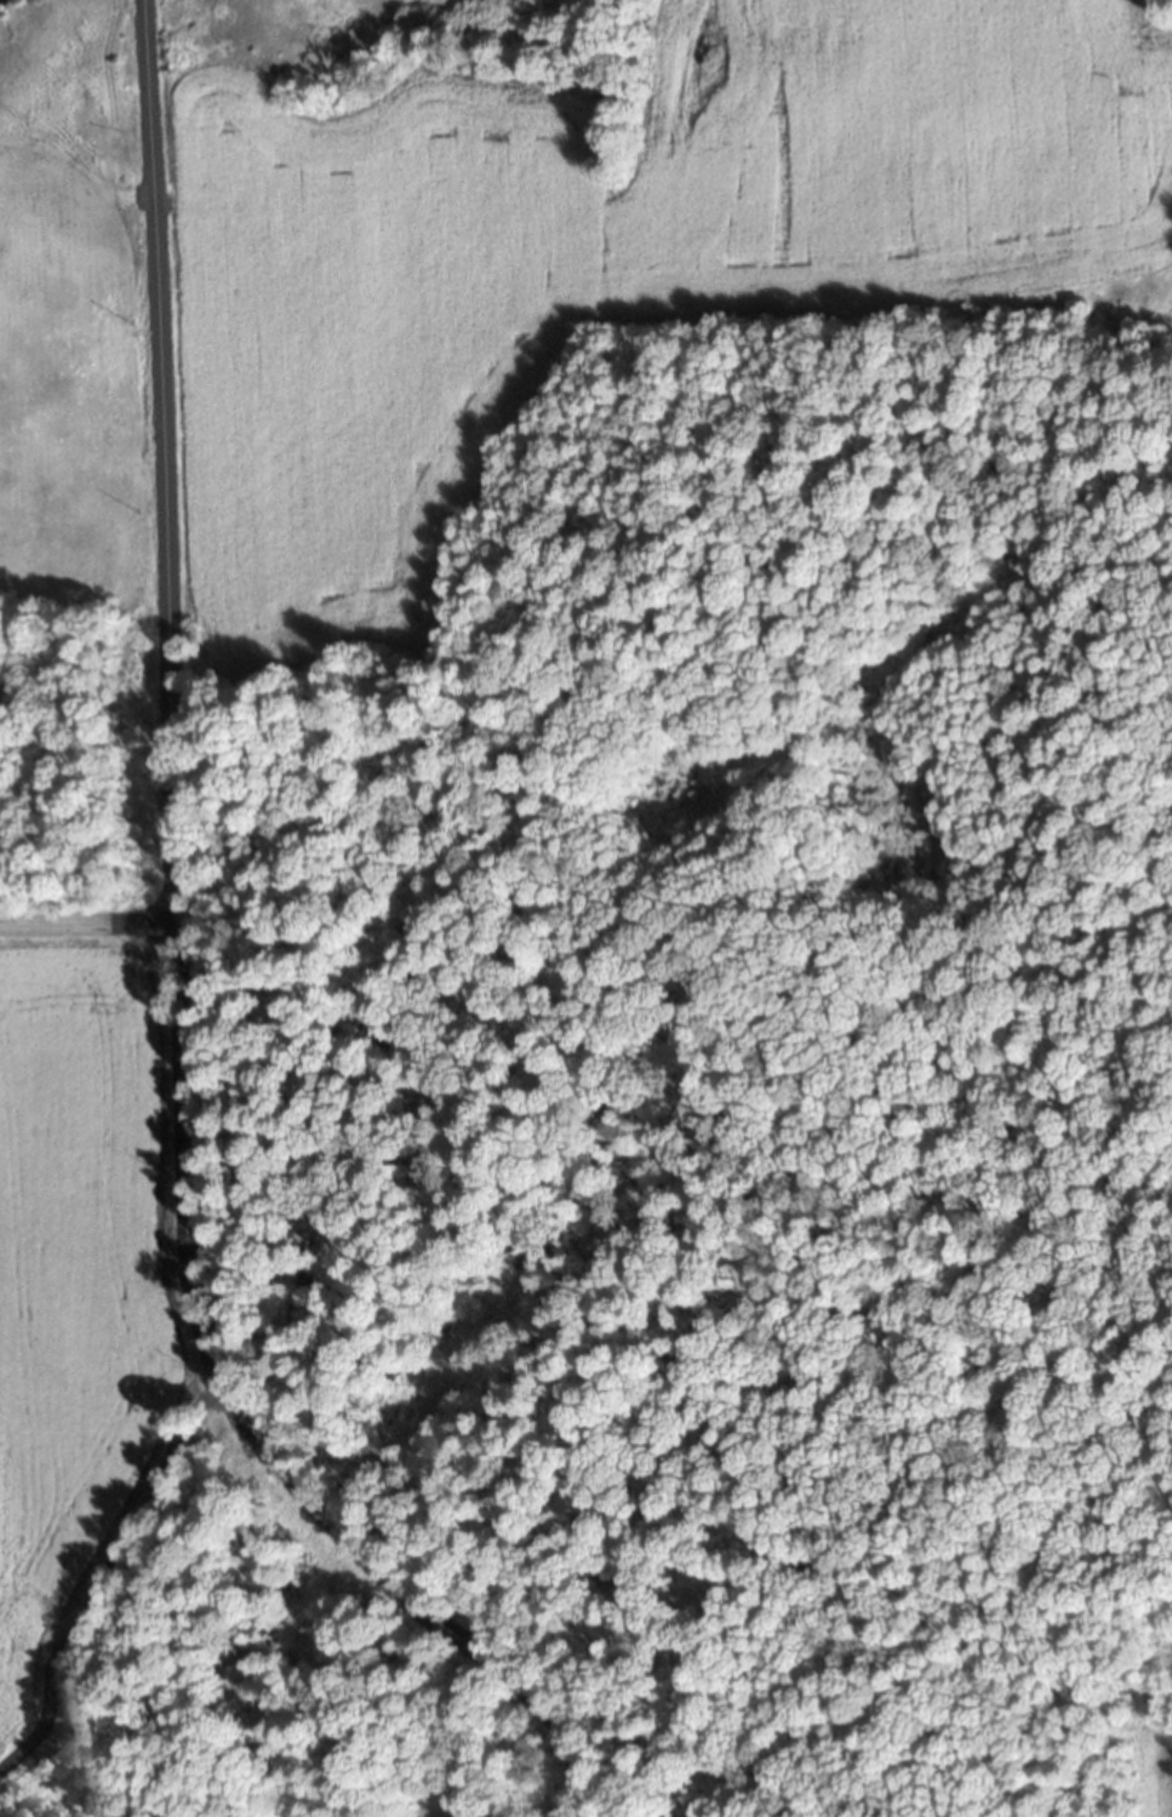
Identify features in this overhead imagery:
road: (88, 924)
road: (178, 984)
road: (102, 1570)

